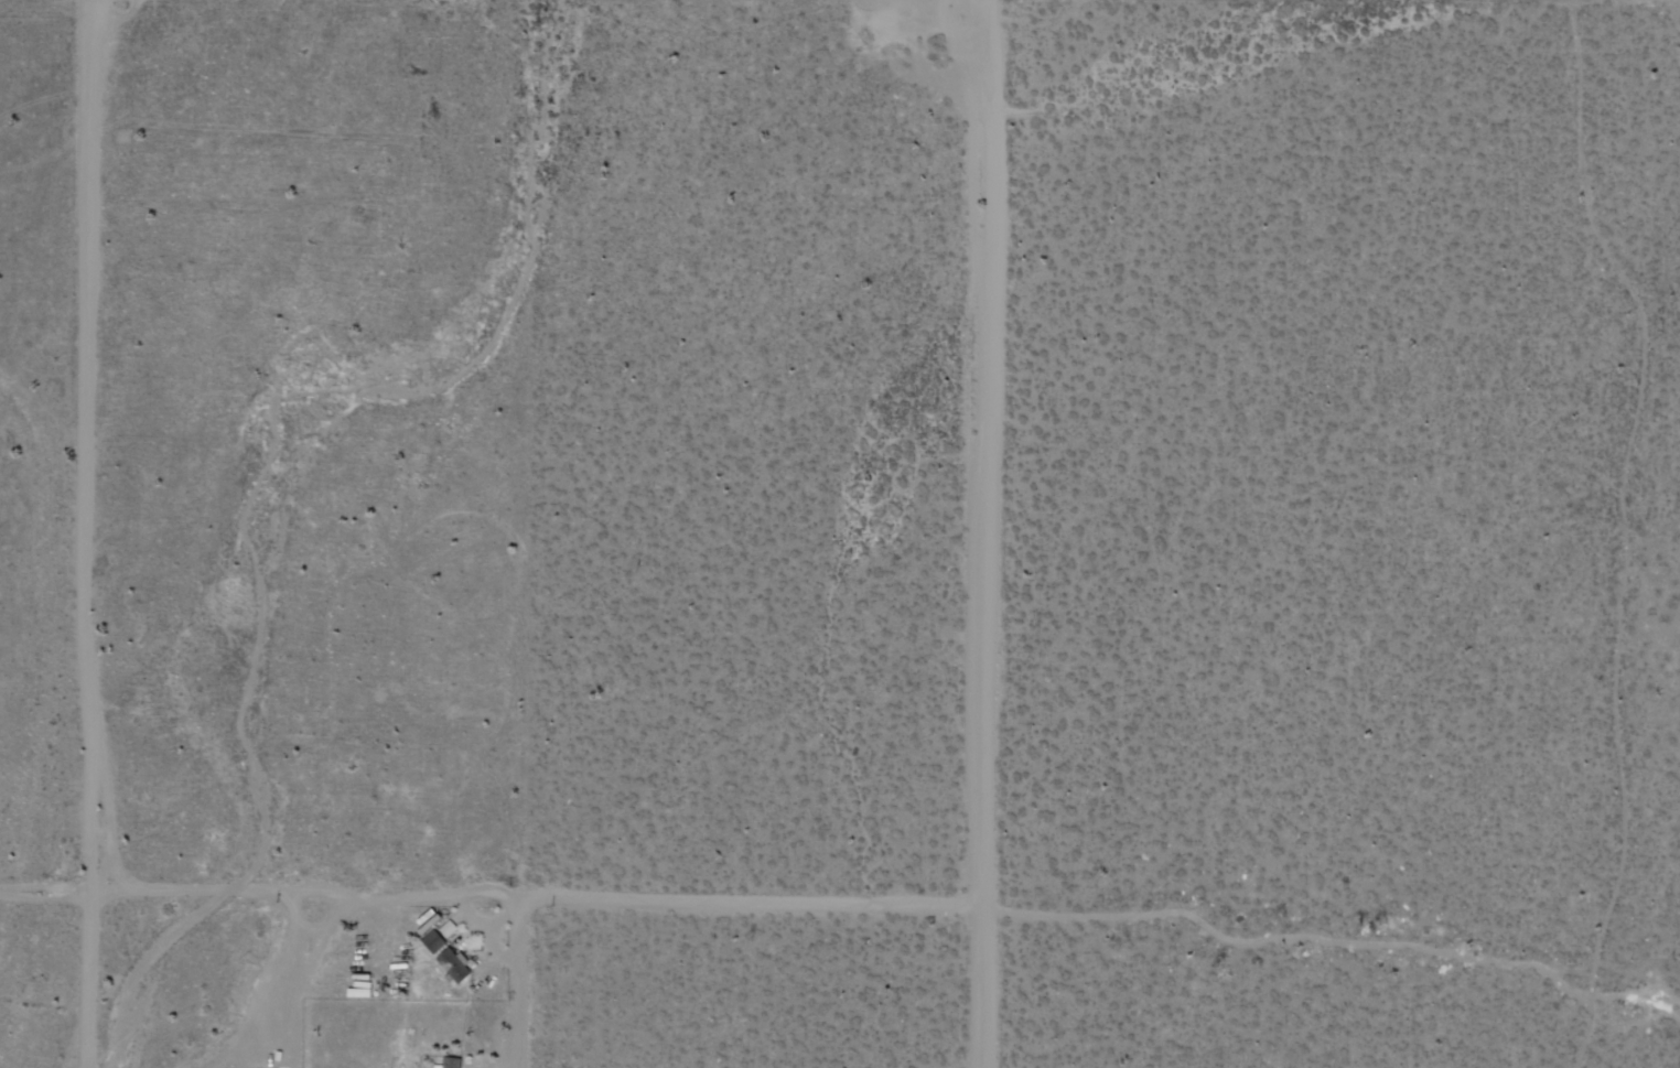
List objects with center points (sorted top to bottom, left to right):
road: (86, 449)
road: (1626, 531)
road: (984, 533)
road: (46, 896)
road: (537, 902)
road: (327, 923)
road: (1331, 941)
building: (433, 942)
building: (453, 967)
road: (287, 974)
road: (91, 982)
road: (525, 984)
building: (453, 1062)
building: (437, 1067)

